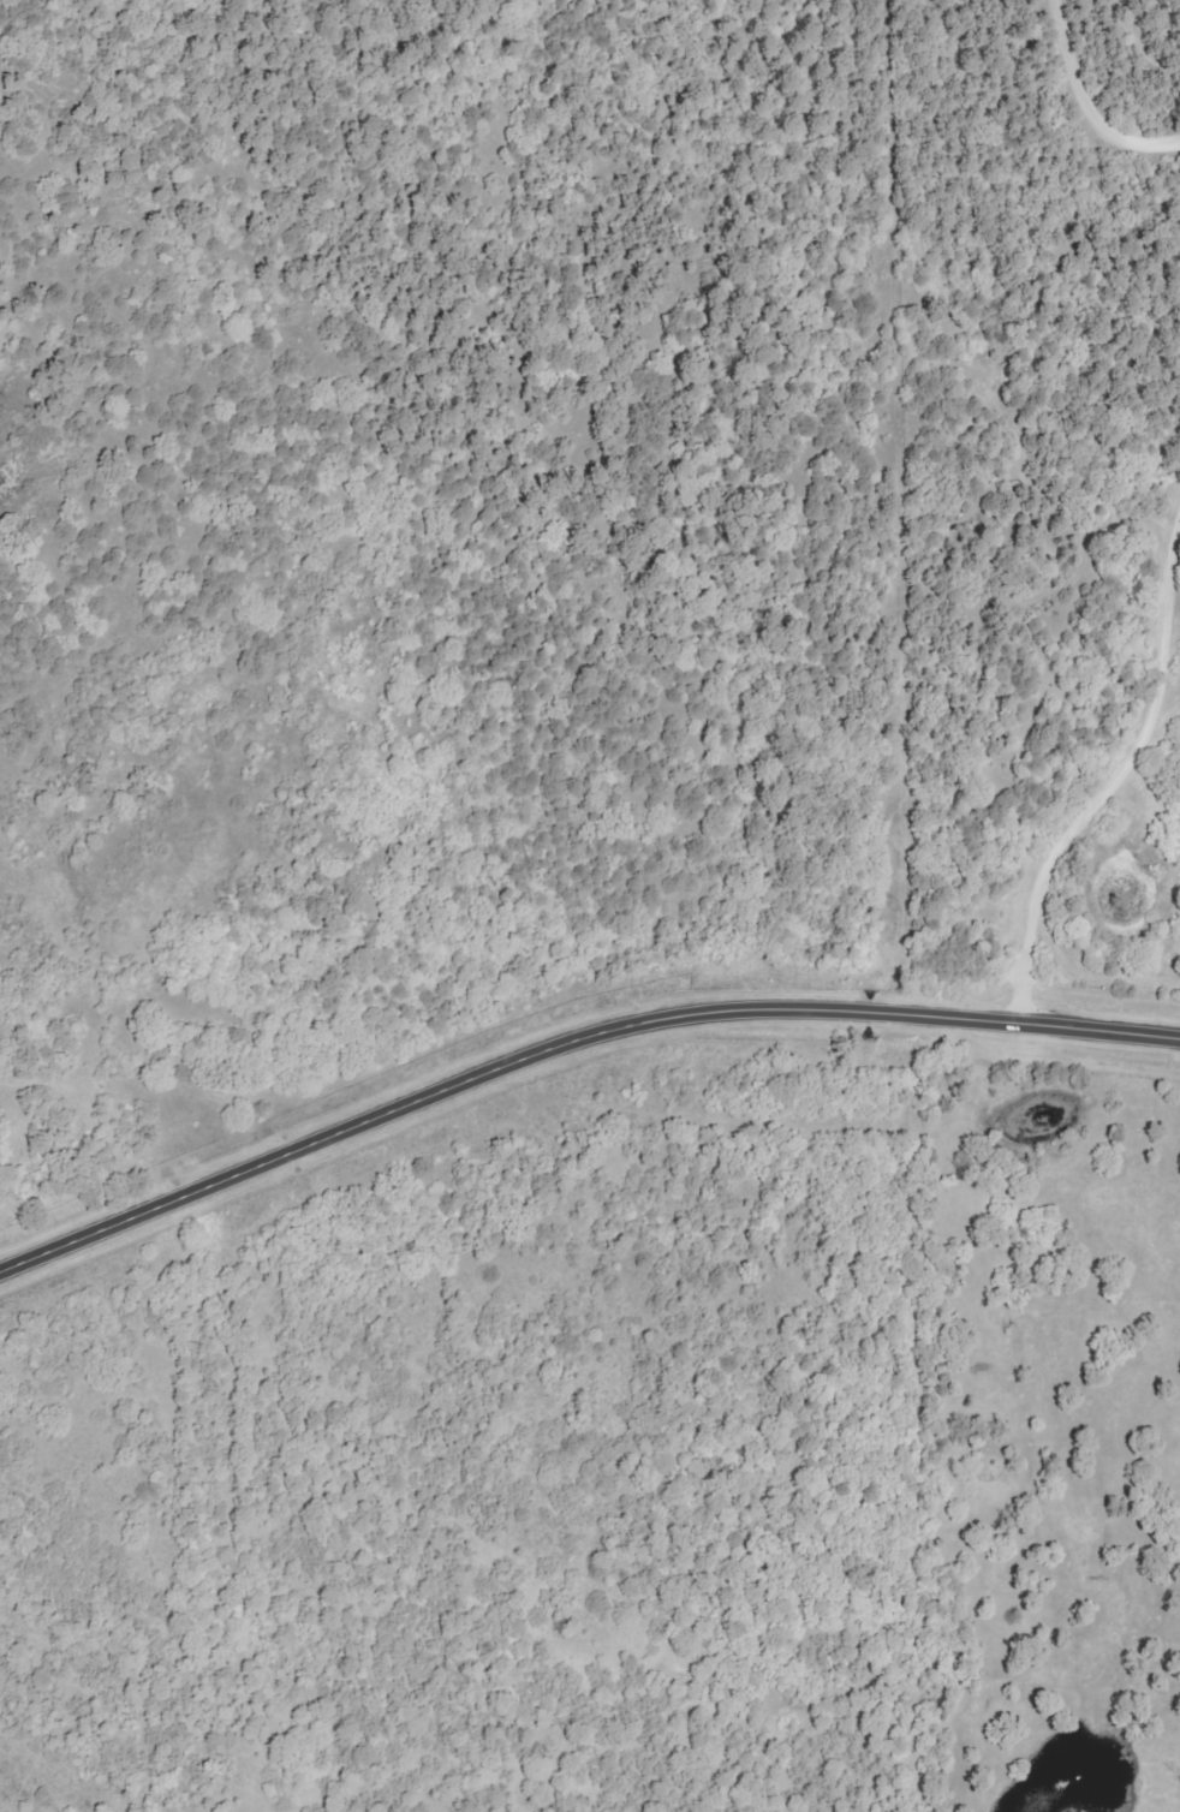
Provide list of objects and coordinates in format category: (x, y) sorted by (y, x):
road: (1090, 100)
road: (995, 348)
road: (1110, 777)
road: (570, 1033)

